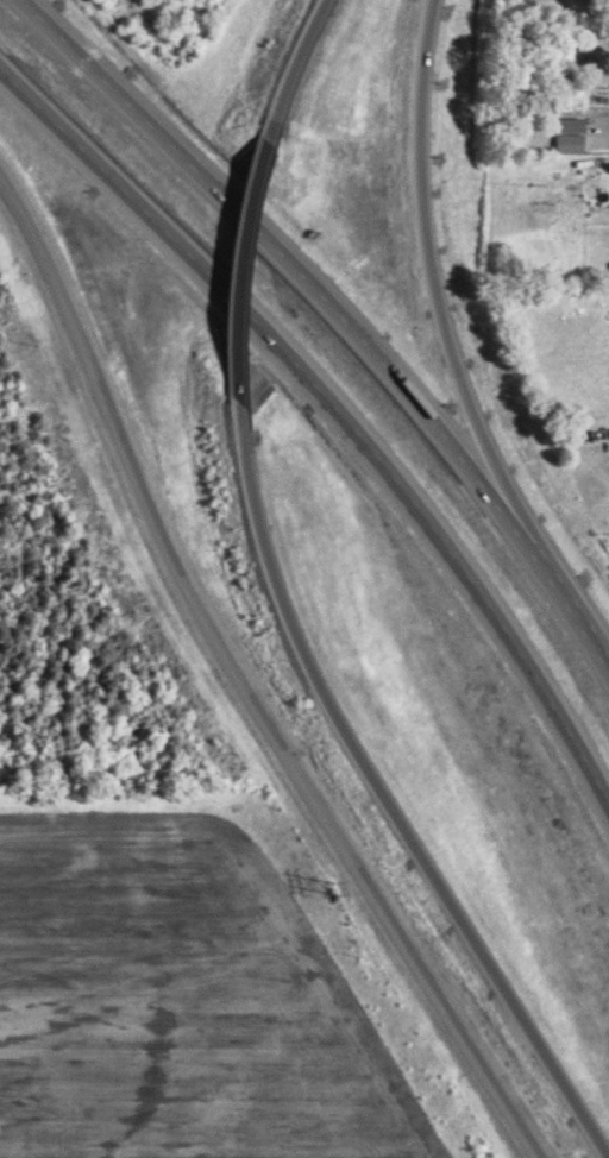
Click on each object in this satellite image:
road: (290, 67)
building: (563, 121)
building: (565, 139)
road: (236, 266)
road: (341, 314)
road: (446, 320)
road: (339, 409)
road: (239, 684)
road: (378, 794)
power tower: (337, 888)

